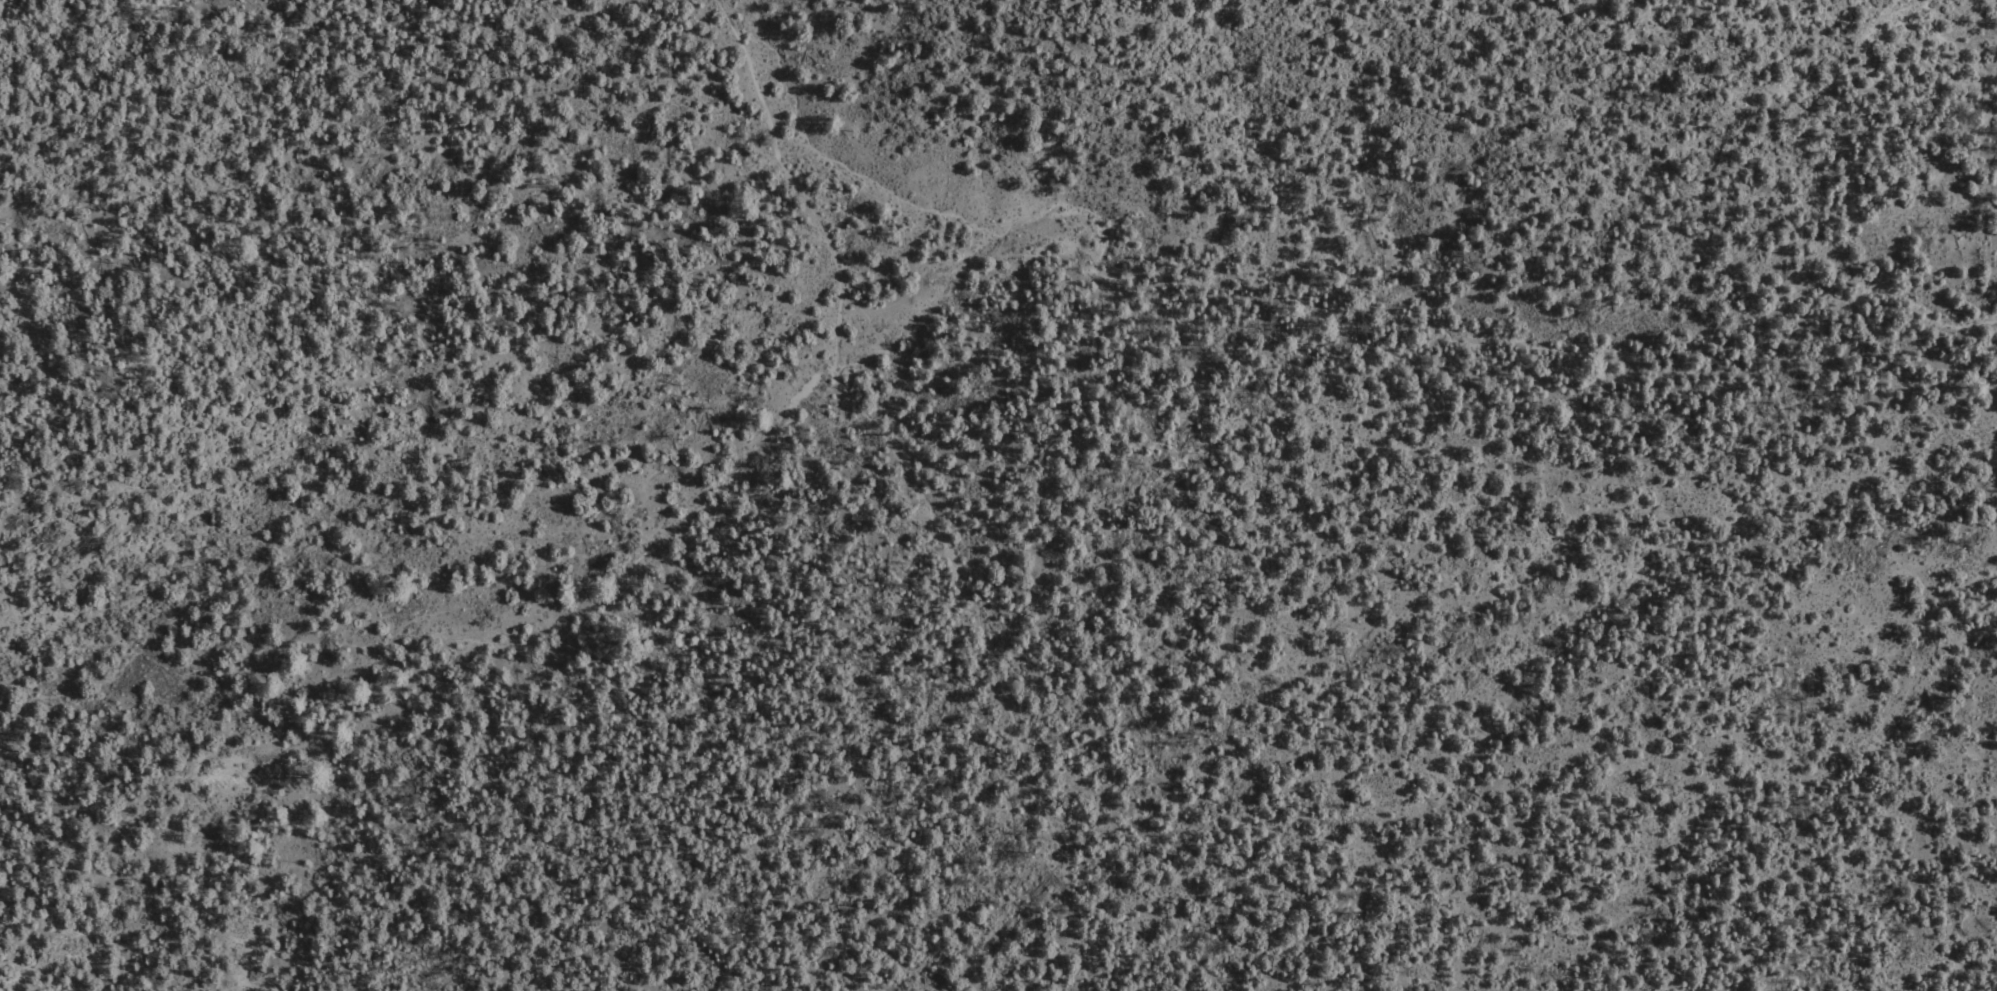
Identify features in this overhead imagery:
road: (912, 486)

